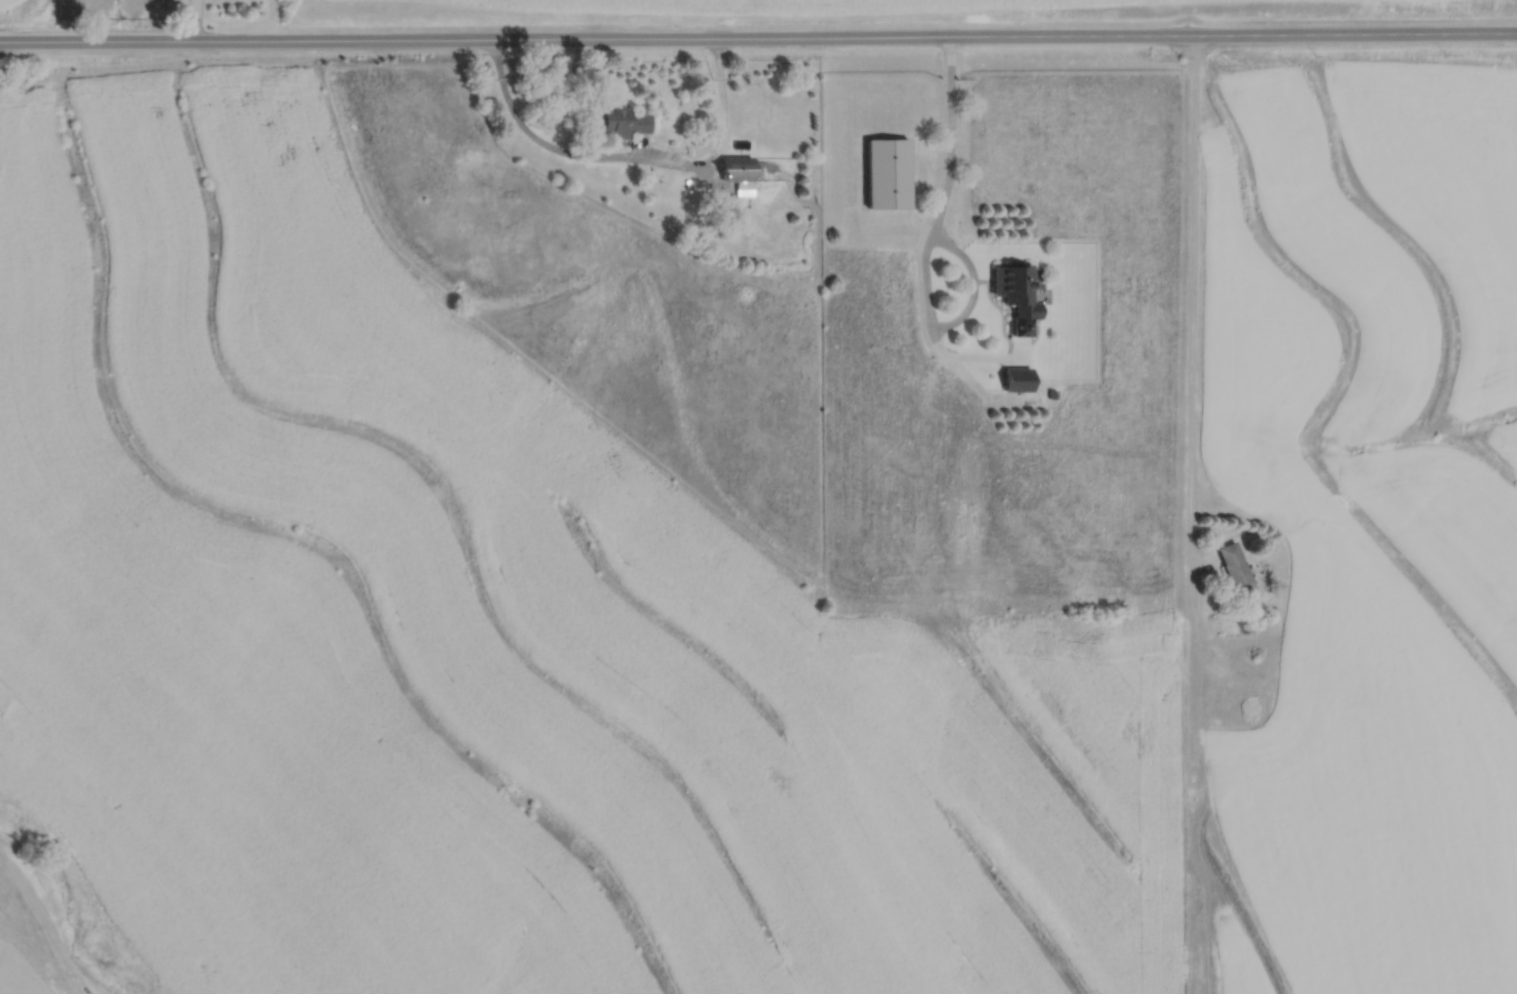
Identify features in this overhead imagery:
road: (758, 37)
building: (616, 121)
road: (629, 156)
building: (733, 169)
building: (885, 173)
road: (923, 252)
building: (1014, 295)
road: (1194, 307)
building: (1014, 380)
building: (1234, 570)
building: (1249, 708)

